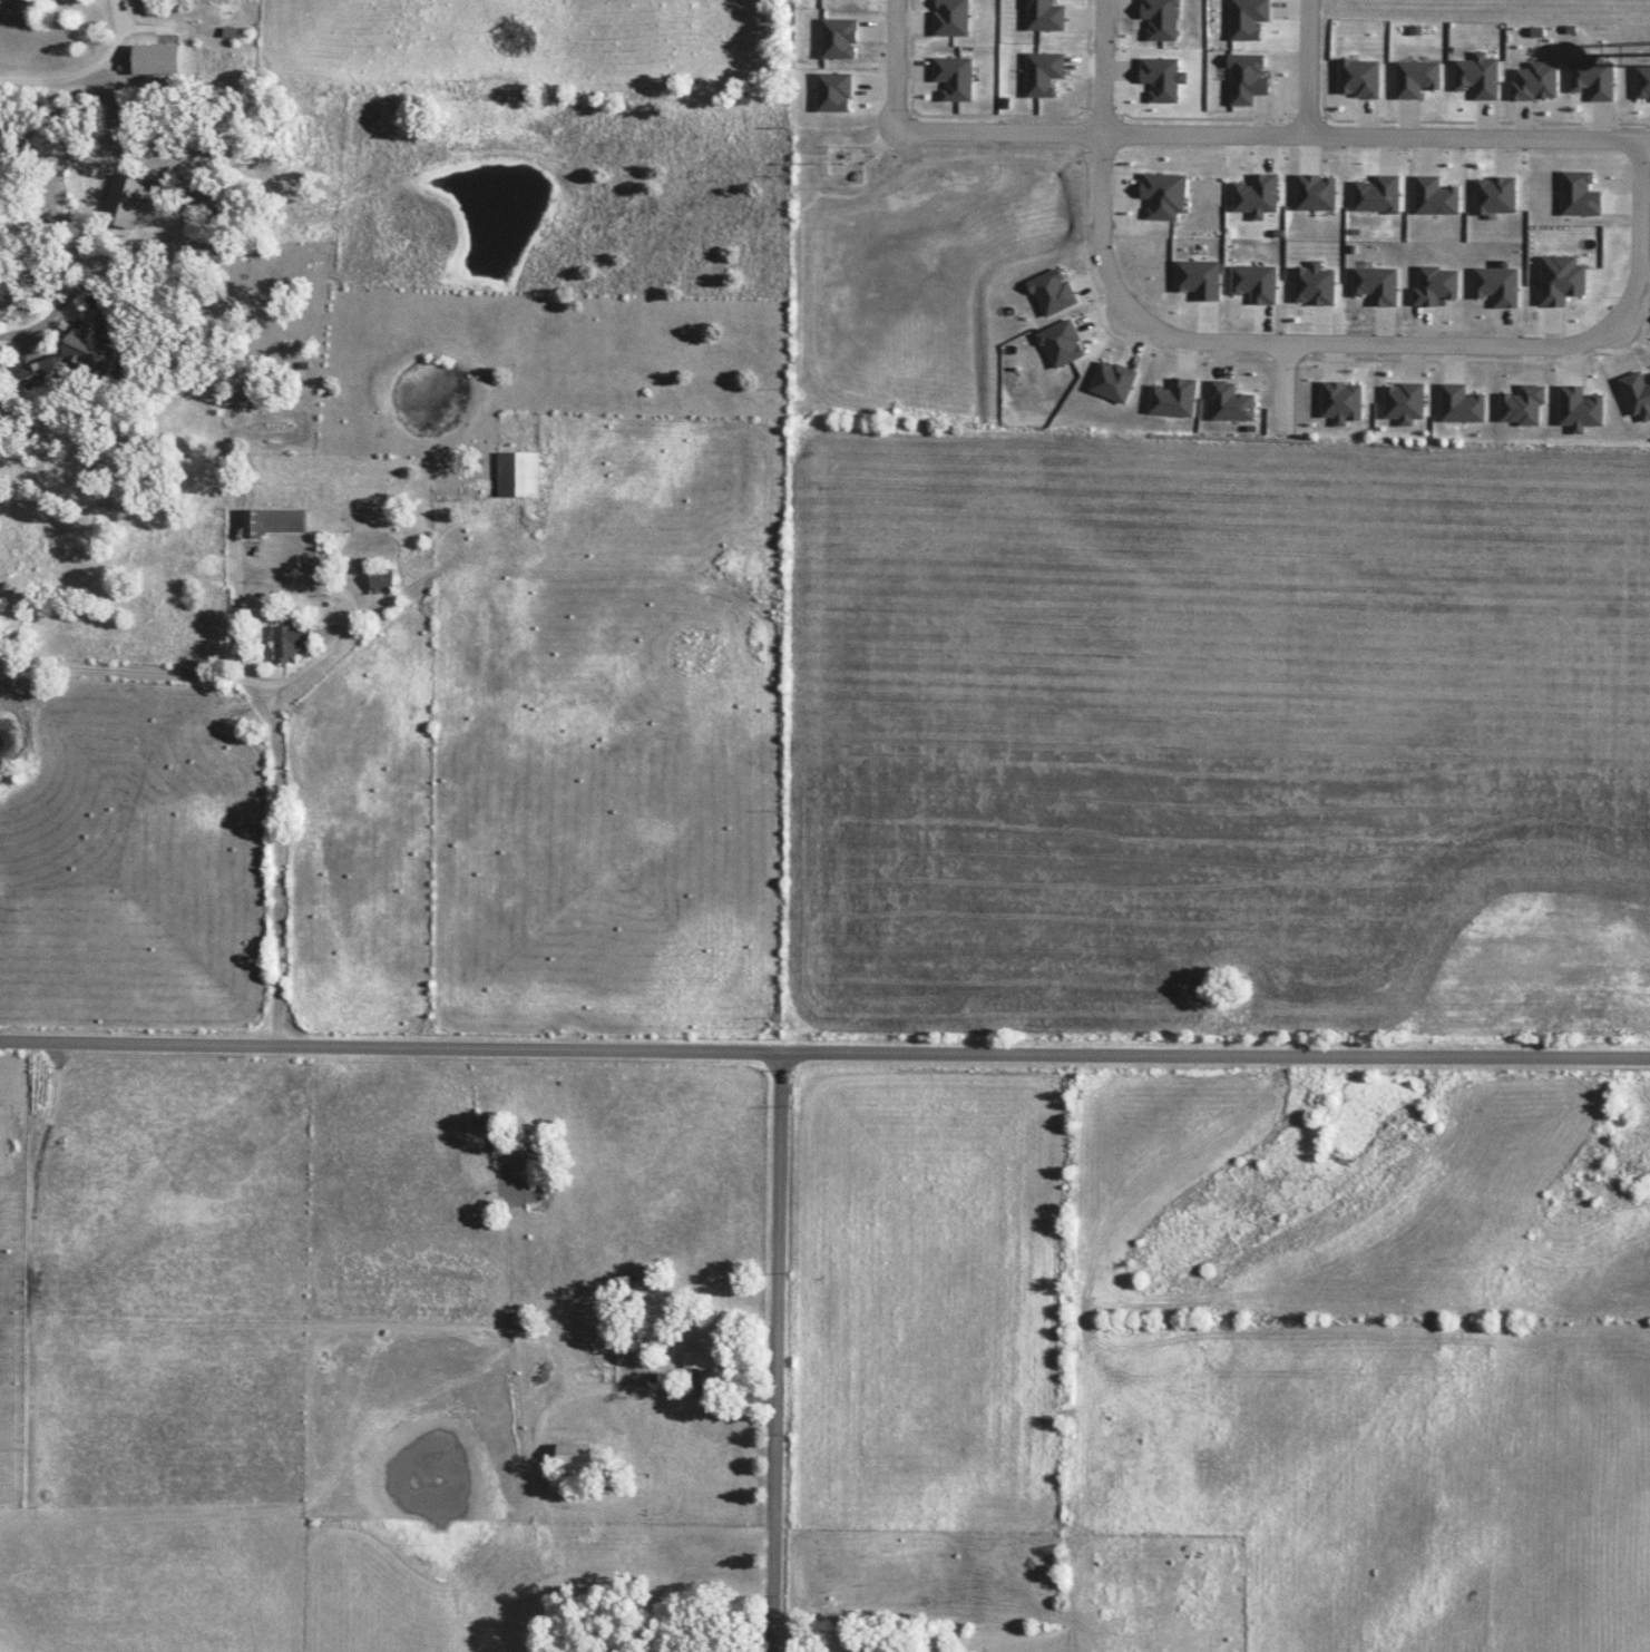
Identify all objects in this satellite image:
building: (155, 59)
road: (894, 65)
road: (1101, 67)
road: (1309, 68)
road: (85, 69)
road: (1271, 136)
building: (125, 199)
road: (46, 315)
road: (1371, 345)
building: (67, 355)
building: (517, 475)
building: (275, 522)
building: (381, 579)
building: (289, 642)
road: (276, 725)
road: (824, 1053)
building: (636, 1282)
road: (777, 1352)
building: (704, 1359)
building: (573, 1458)

